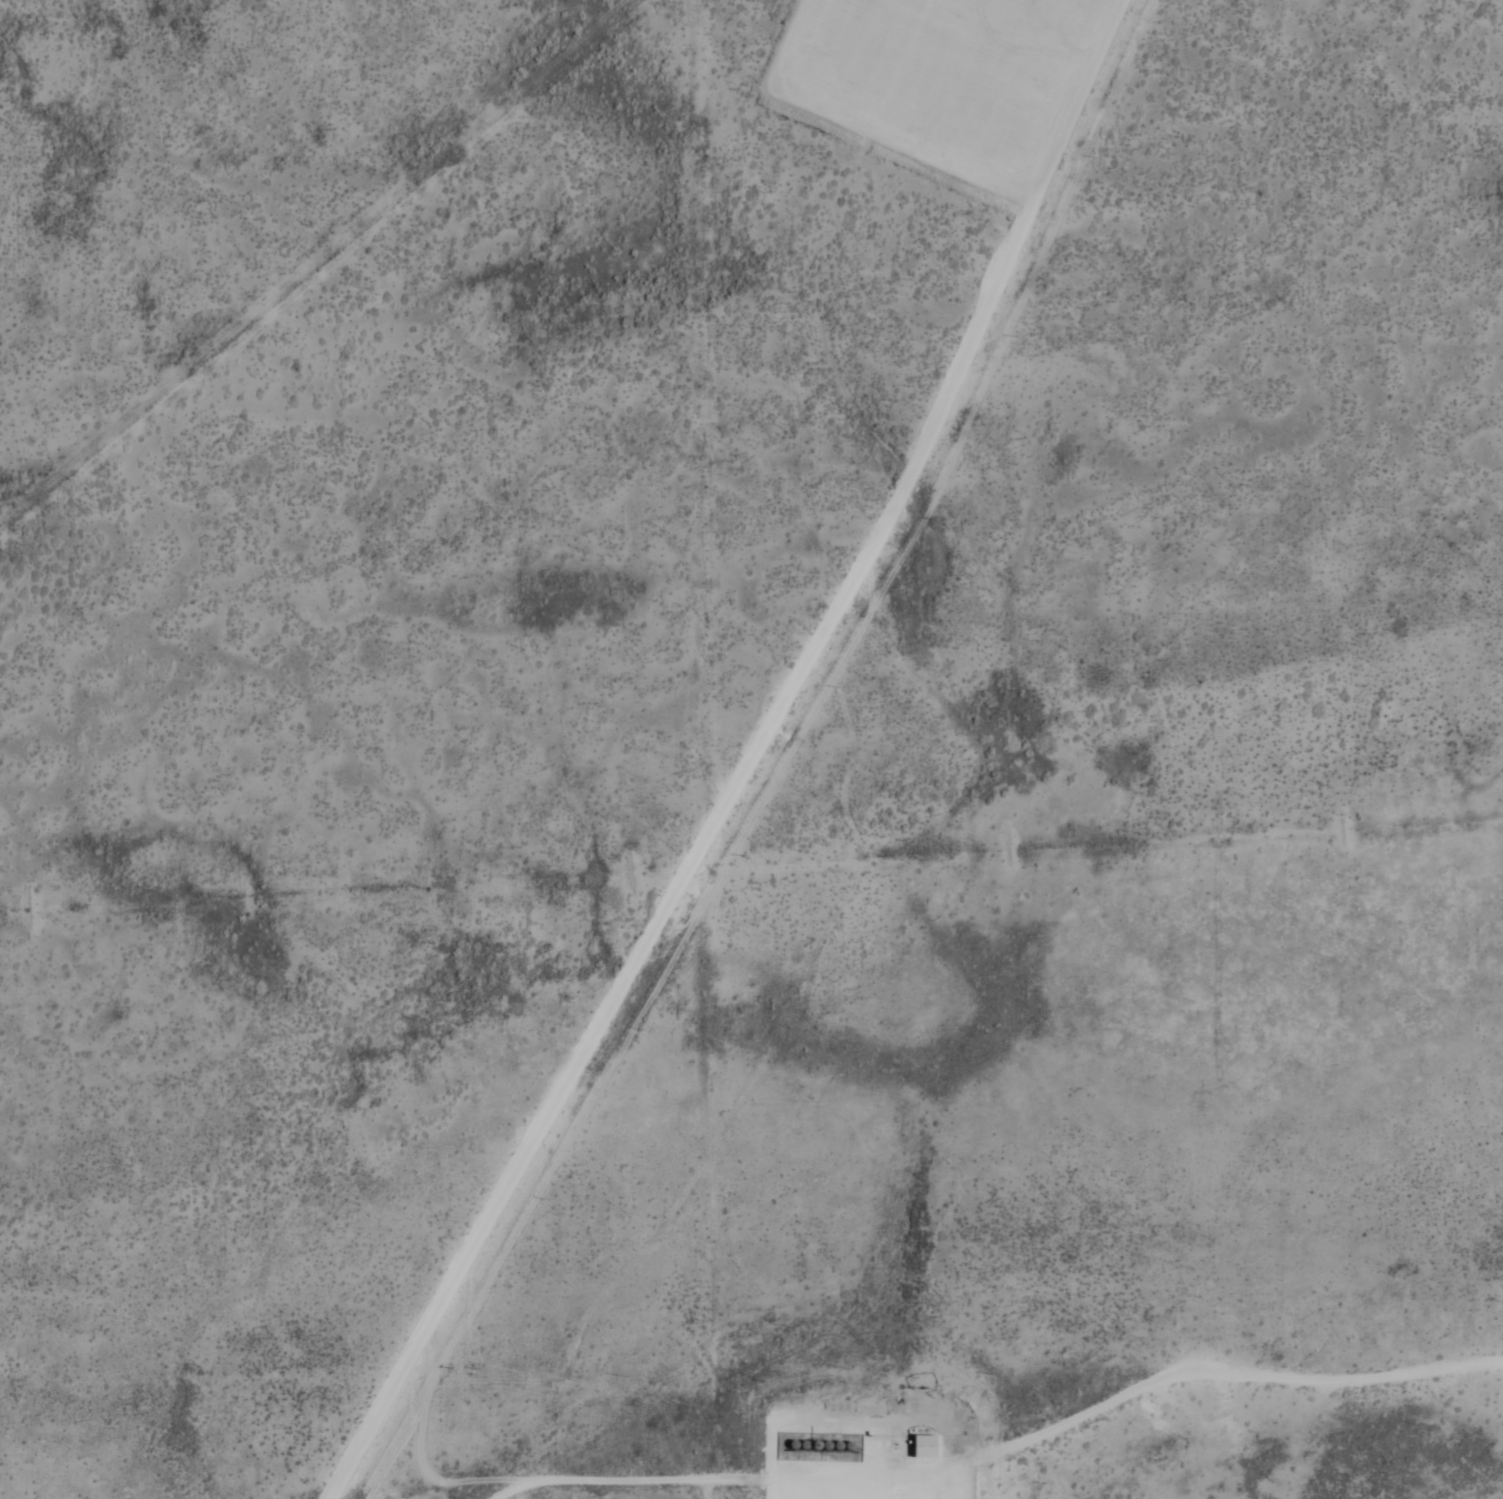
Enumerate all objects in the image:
road: (770, 1413)
road: (1004, 1448)
road: (709, 1488)

